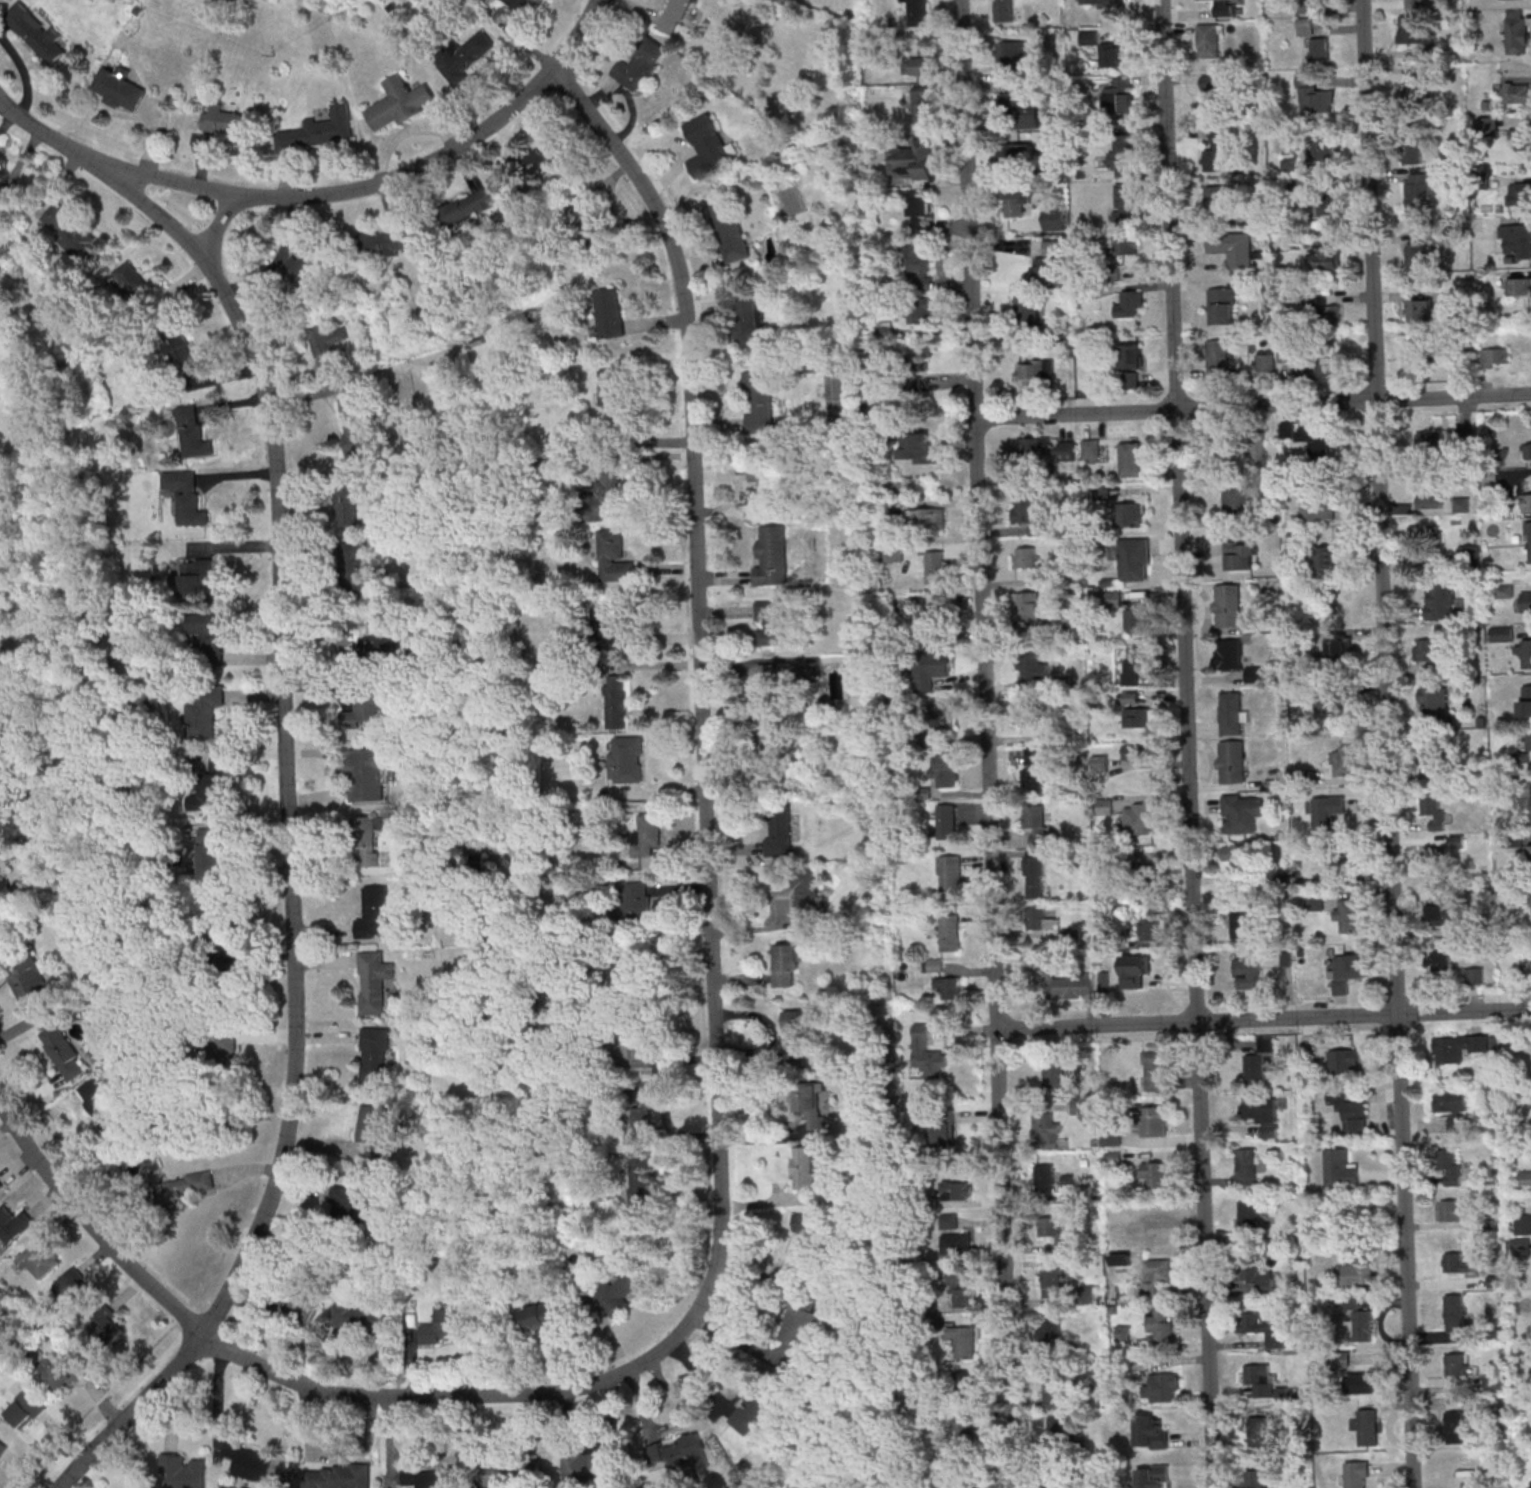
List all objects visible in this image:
building: (1101, 3)
building: (519, 4)
building: (1414, 4)
building: (1224, 7)
building: (1004, 10)
building: (918, 12)
building: (674, 16)
building: (1305, 25)
building: (1410, 28)
building: (1516, 31)
building: (37, 32)
building: (1208, 39)
building: (1320, 48)
building: (1011, 49)
building: (1112, 54)
building: (465, 55)
building: (918, 65)
building: (636, 70)
building: (120, 87)
building: (1417, 89)
building: (1516, 92)
building: (1213, 94)
building: (1313, 94)
building: (1119, 96)
building: (400, 101)
building: (922, 103)
building: (1023, 112)
building: (225, 121)
building: (1488, 125)
building: (321, 129)
building: (1520, 138)
building: (709, 145)
building: (1321, 148)
building: (1215, 151)
building: (1412, 152)
building: (1018, 153)
building: (1123, 155)
building: (543, 159)
building: (912, 159)
road: (382, 182)
building: (1, 191)
building: (1417, 193)
building: (1518, 193)
building: (1219, 199)
building: (1017, 200)
building: (1327, 204)
building: (1124, 207)
building: (467, 209)
building: (918, 211)
building: (585, 216)
road: (221, 225)
building: (731, 229)
building: (71, 232)
building: (1516, 241)
building: (382, 242)
building: (1232, 248)
building: (1119, 253)
building: (1416, 254)
building: (1324, 258)
building: (307, 263)
building: (915, 266)
building: (1044, 271)
building: (129, 279)
building: (1518, 286)
building: (1130, 304)
building: (1222, 305)
building: (1026, 307)
building: (916, 310)
building: (1420, 310)
building: (611, 312)
building: (1325, 315)
building: (750, 321)
building: (885, 328)
building: (329, 348)
building: (182, 354)
building: (1131, 355)
building: (1417, 357)
building: (1218, 360)
building: (1263, 361)
building: (915, 362)
building: (1314, 369)
building: (1035, 372)
building: (1131, 379)
building: (912, 383)
building: (609, 387)
building: (760, 400)
road: (1215, 410)
building: (356, 426)
building: (193, 432)
building: (1315, 438)
building: (1429, 441)
building: (1034, 446)
building: (916, 447)
building: (1251, 447)
building: (1067, 450)
building: (1528, 450)
building: (1497, 457)
building: (1130, 458)
building: (766, 475)
building: (348, 495)
building: (605, 495)
building: (1429, 495)
building: (187, 497)
building: (1236, 499)
building: (1526, 502)
building: (1461, 504)
building: (1317, 509)
building: (1131, 514)
building: (1028, 516)
building: (928, 519)
building: (1426, 534)
building: (1291, 539)
building: (1529, 541)
building: (773, 554)
building: (1241, 554)
building: (613, 556)
building: (1025, 556)
building: (1326, 556)
building: (1133, 559)
building: (1431, 560)
building: (935, 565)
building: (356, 569)
building: (196, 576)
building: (1111, 598)
building: (1442, 601)
building: (1526, 601)
building: (1227, 604)
building: (1029, 607)
building: (1137, 618)
building: (773, 622)
building: (604, 625)
building: (1502, 633)
building: (210, 638)
building: (383, 644)
building: (1339, 648)
building: (1427, 649)
building: (1228, 653)
building: (1524, 653)
building: (1133, 662)
building: (1030, 665)
building: (930, 668)
building: (770, 693)
building: (616, 701)
building: (1335, 702)
building: (1435, 703)
building: (1033, 707)
building: (366, 709)
building: (205, 713)
building: (1231, 713)
building: (939, 716)
building: (1135, 717)
building: (1528, 741)
road: (988, 743)
road: (1188, 743)
road: (1389, 744)
building: (1131, 751)
building: (764, 753)
building: (627, 758)
building: (1436, 758)
building: (1344, 760)
building: (1231, 761)
building: (1100, 762)
building: (1035, 769)
building: (944, 770)
road: (287, 771)
building: (371, 771)
building: (208, 796)
building: (1104, 806)
building: (1434, 810)
building: (1241, 812)
building: (1327, 812)
building: (1139, 818)
building: (945, 820)
building: (1035, 824)
building: (779, 831)
building: (648, 834)
building: (367, 840)
building: (213, 843)
building: (1530, 852)
building: (1236, 853)
building: (1340, 854)
building: (1034, 876)
building: (948, 877)
building: (805, 891)
building: (5, 898)
building: (635, 900)
building: (1315, 901)
building: (378, 913)
building: (1350, 914)
building: (1440, 914)
building: (1040, 919)
building: (1241, 922)
building: (1151, 928)
building: (217, 932)
building: (947, 932)
road: (712, 939)
building: (1438, 960)
building: (786, 963)
building: (931, 964)
building: (628, 967)
building: (1246, 969)
building: (1136, 970)
building: (1347, 970)
building: (1474, 974)
building: (376, 980)
building: (30, 981)
building: (1069, 986)
building: (948, 987)
road: (1217, 1022)
building: (800, 1032)
building: (1460, 1047)
building: (221, 1048)
building: (634, 1049)
building: (64, 1051)
building: (927, 1053)
building: (377, 1055)
building: (1260, 1060)
building: (1343, 1061)
building: (1156, 1070)
building: (1054, 1075)
building: (1450, 1099)
building: (808, 1102)
building: (102, 1104)
building: (642, 1111)
building: (1262, 1113)
building: (1349, 1113)
building: (1153, 1121)
building: (1455, 1124)
building: (376, 1128)
building: (1048, 1129)
building: (943, 1132)
building: (1111, 1135)
building: (1448, 1166)
building: (1246, 1167)
building: (1339, 1168)
building: (1157, 1173)
building: (804, 1174)
building: (1047, 1175)
building: (642, 1176)
building: (1524, 1177)
building: (187, 1186)
building: (0, 1187)
building: (957, 1190)
building: (351, 1202)
building: (1454, 1209)
building: (1247, 1217)
building: (949, 1221)
building: (14, 1223)
road: (90, 1224)
building: (1522, 1224)
building: (807, 1228)
building: (1052, 1230)
building: (956, 1243)
building: (1519, 1246)
building: (42, 1257)
building: (1455, 1262)
building: (1357, 1272)
building: (1154, 1275)
building: (1049, 1282)
building: (76, 1289)
building: (621, 1289)
building: (958, 1291)
building: (305, 1307)
building: (1454, 1312)
building: (363, 1316)
building: (543, 1317)
road: (184, 1319)
building: (1160, 1321)
building: (800, 1323)
building: (445, 1325)
building: (1362, 1325)
building: (110, 1327)
building: (1258, 1328)
building: (1048, 1331)
building: (1122, 1332)
building: (963, 1339)
building: (1455, 1363)
building: (68, 1370)
building: (1255, 1373)
building: (963, 1381)
building: (1164, 1381)
building: (1365, 1383)
building: (1054, 1390)
road: (96, 1402)
building: (26, 1409)
building: (751, 1410)
building: (961, 1421)
building: (1367, 1426)
building: (1060, 1428)
building: (1457, 1428)
building: (1150, 1432)
building: (1256, 1434)
building: (3, 1446)
building: (682, 1452)
building: (250, 1460)
building: (589, 1467)
building: (504, 1469)
building: (183, 1472)
building: (1258, 1474)
building: (1356, 1474)
building: (338, 1476)
building: (1152, 1476)
building: (432, 1477)
building: (1530, 1483)
building: (967, 1484)

